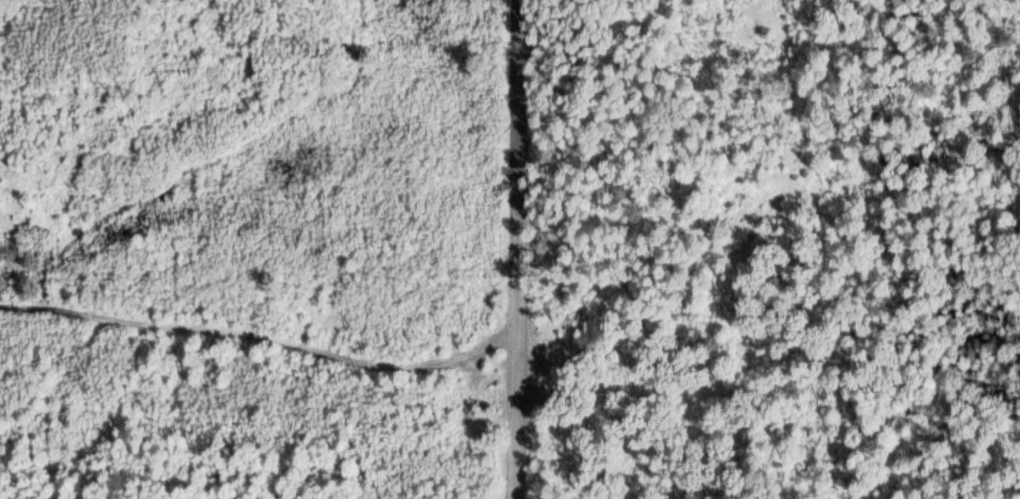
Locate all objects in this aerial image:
road: (514, 249)

